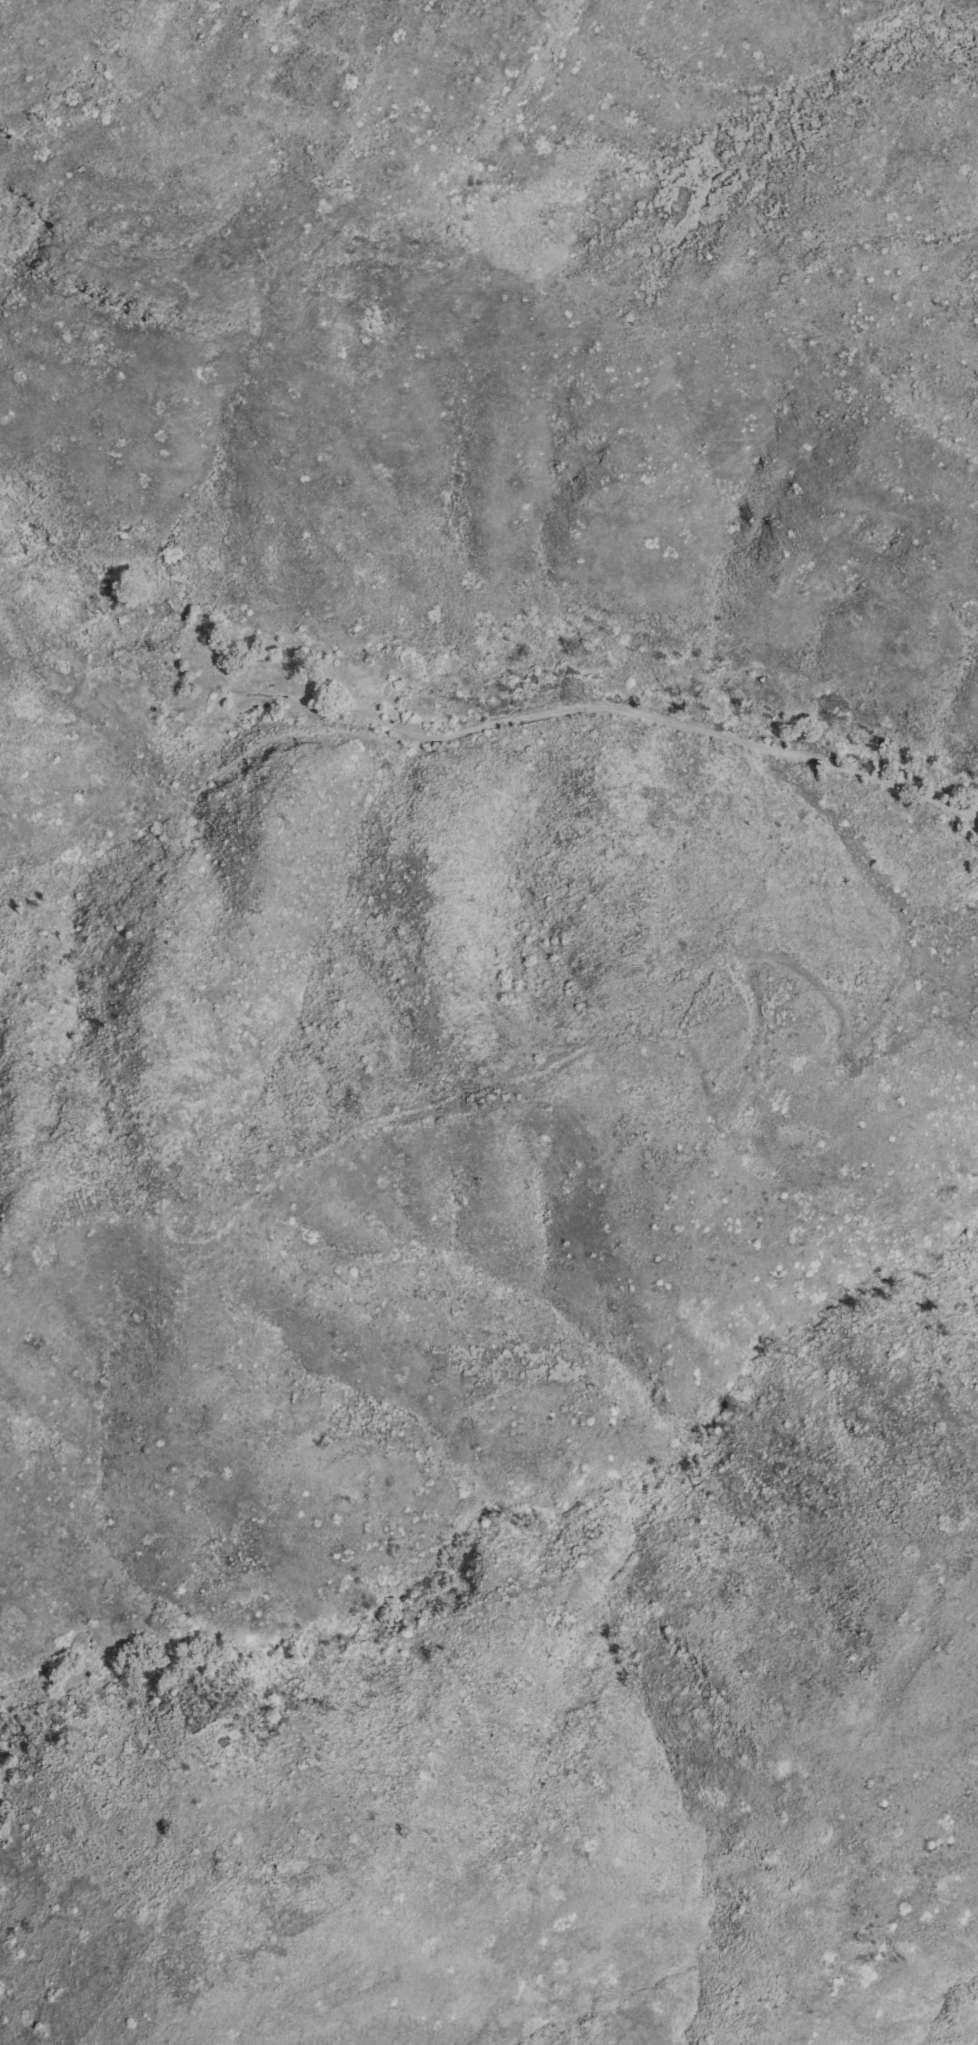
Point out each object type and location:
road: (114, 645)
road: (598, 706)

